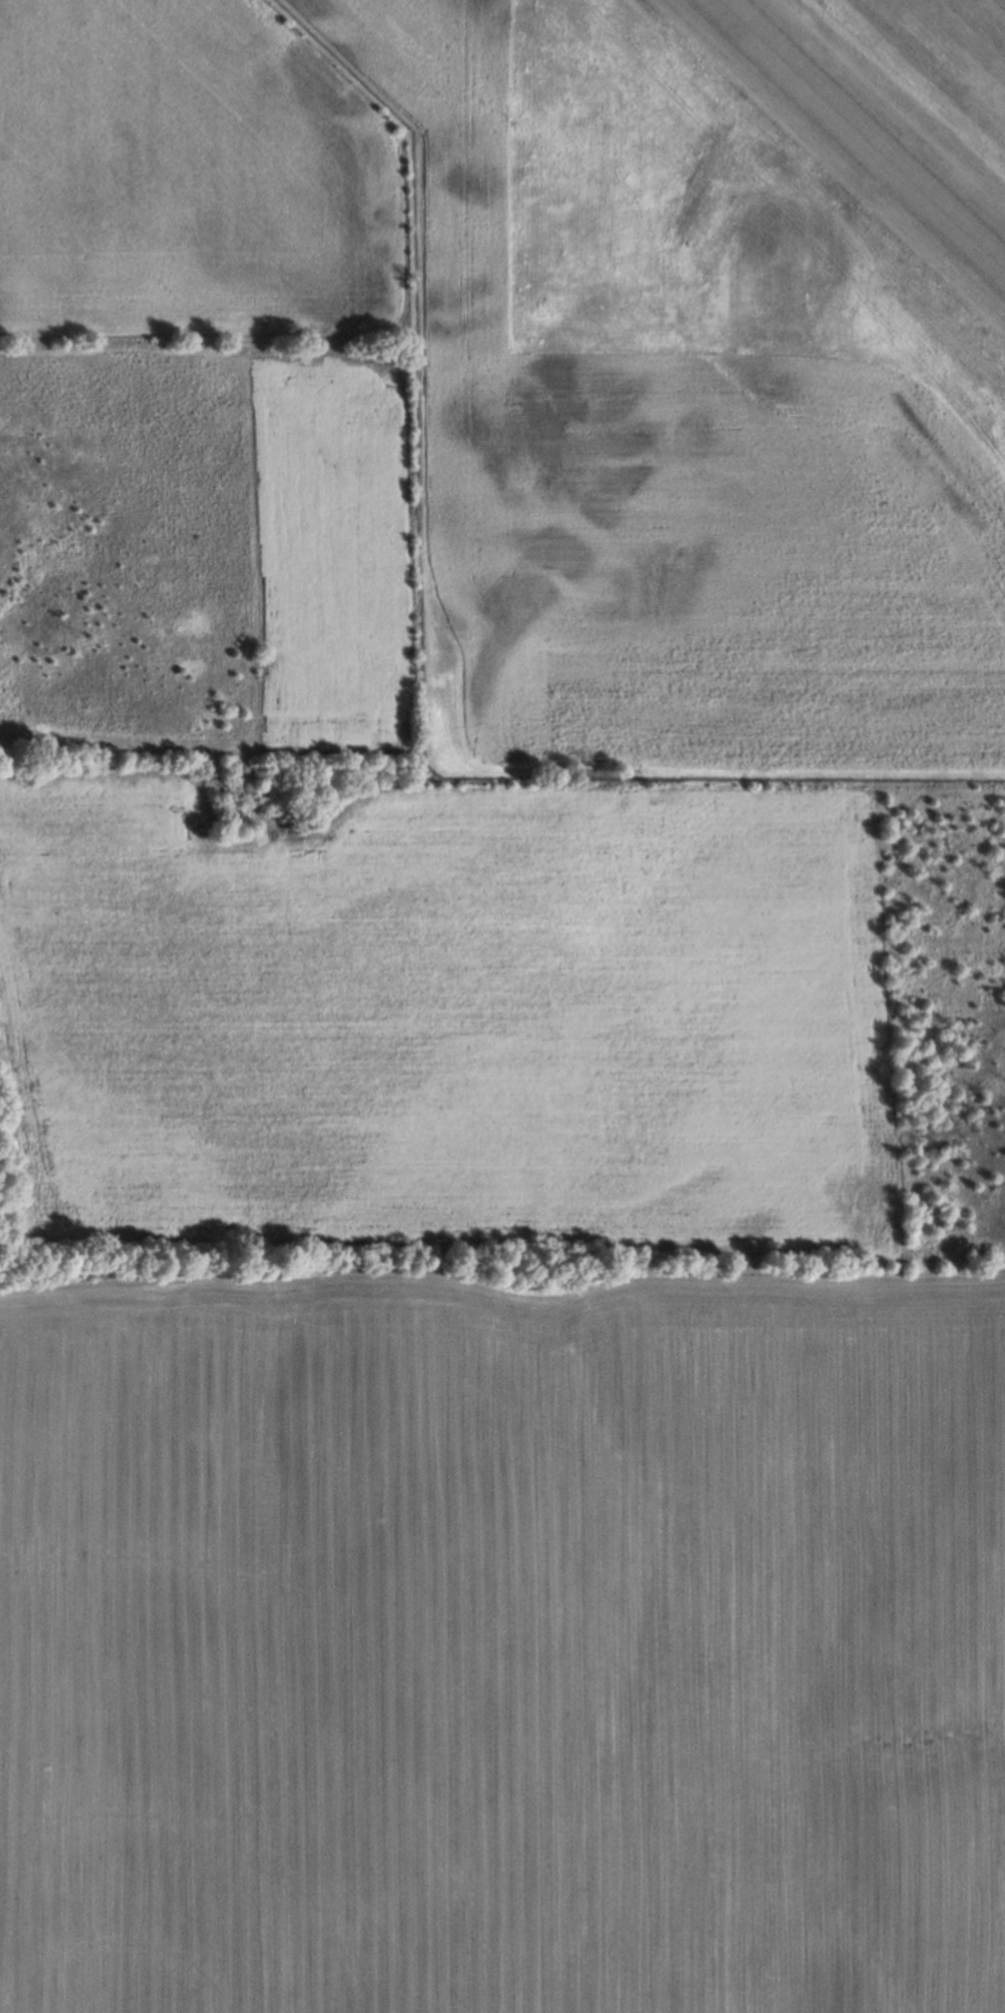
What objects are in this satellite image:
airport taxiway: (861, 137)
airport: (707, 383)

